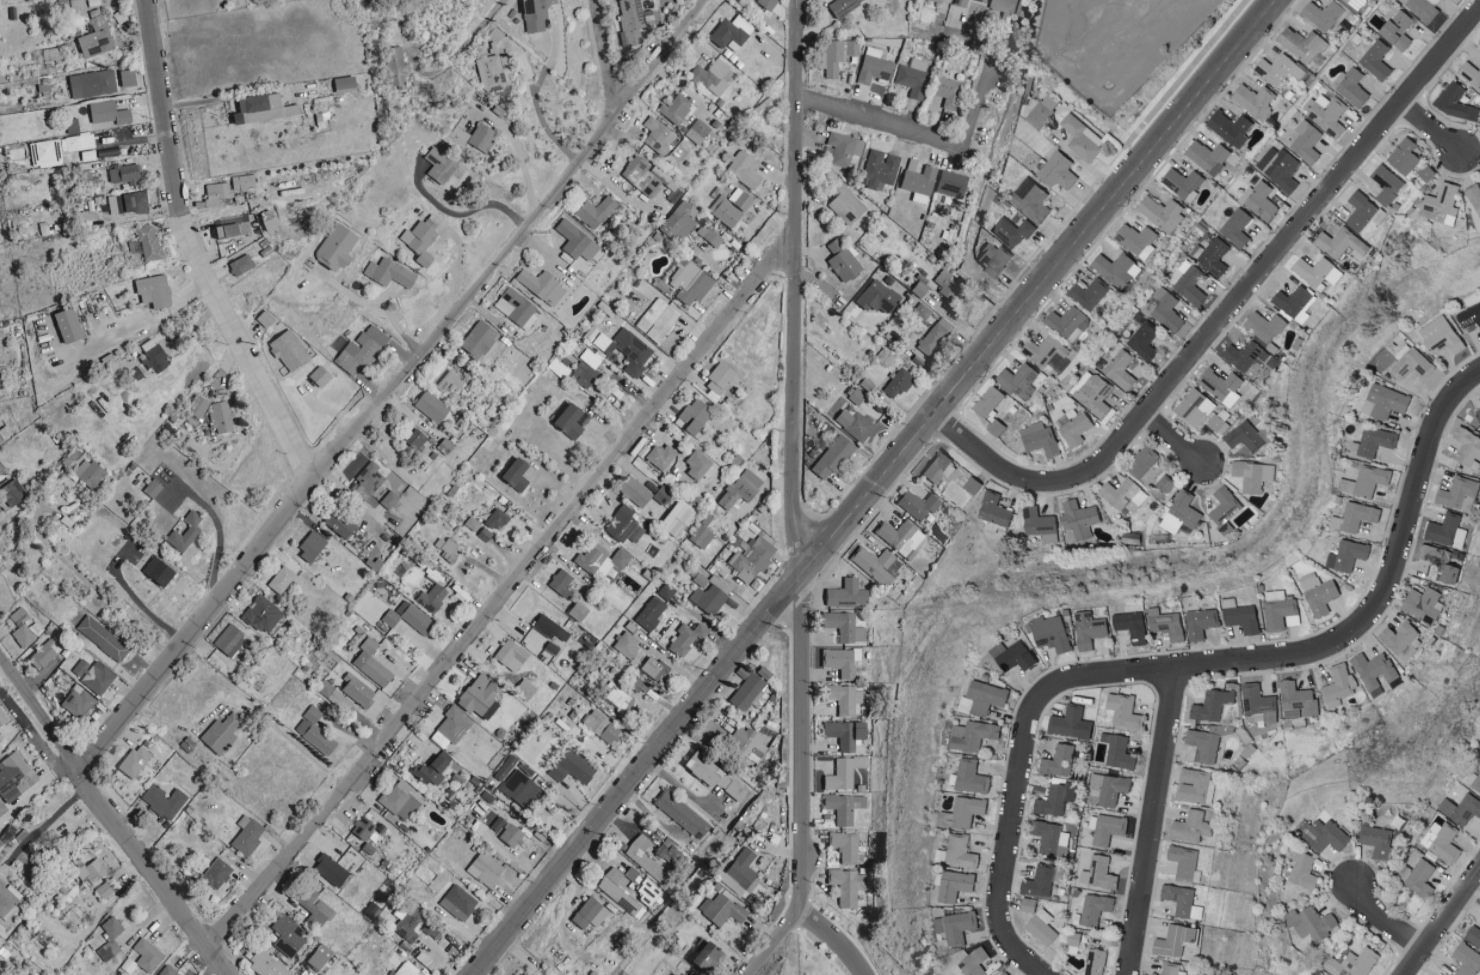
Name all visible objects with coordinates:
building: (940, 1)
building: (978, 1)
building: (1350, 1)
building: (92, 2)
building: (768, 2)
building: (959, 3)
building: (1002, 5)
building: (843, 6)
building: (78, 9)
building: (1422, 9)
building: (535, 15)
building: (1323, 16)
building: (631, 22)
building: (1394, 29)
building: (732, 30)
building: (97, 36)
building: (1300, 44)
building: (1479, 45)
building: (62, 51)
road: (605, 52)
building: (50, 54)
building: (836, 55)
building: (1374, 61)
building: (874, 66)
building: (492, 70)
building: (1278, 70)
building: (1470, 75)
building: (712, 76)
building: (913, 76)
building: (128, 77)
building: (92, 83)
building: (1349, 87)
building: (44, 88)
building: (948, 91)
road: (533, 95)
building: (1253, 102)
building: (1455, 102)
building: (255, 103)
building: (676, 108)
building: (1044, 110)
building: (109, 112)
building: (1327, 116)
building: (73, 125)
building: (1229, 128)
road: (1434, 130)
building: (698, 131)
road: (926, 132)
building: (659, 134)
building: (482, 136)
building: (1084, 138)
building: (1305, 141)
building: (77, 142)
building: (844, 148)
building: (46, 151)
building: (110, 152)
building: (88, 154)
building: (1403, 156)
building: (1210, 157)
road: (519, 160)
building: (439, 165)
building: (745, 168)
building: (881, 168)
building: (1281, 168)
building: (1060, 171)
building: (126, 173)
building: (1424, 173)
building: (644, 174)
building: (919, 181)
building: (952, 183)
building: (1184, 183)
building: (1386, 184)
building: (227, 188)
building: (1473, 198)
building: (740, 199)
building: (1033, 200)
building: (1262, 201)
building: (128, 203)
building: (845, 204)
building: (1440, 204)
building: (596, 211)
building: (725, 211)
road: (460, 213)
building: (1365, 213)
building: (1164, 214)
building: (680, 220)
building: (233, 226)
building: (1239, 227)
building: (1013, 232)
building: (709, 234)
building: (577, 240)
building: (1138, 240)
building: (420, 241)
building: (147, 243)
building: (1341, 243)
building: (337, 246)
road: (186, 251)
road: (459, 254)
building: (1217, 257)
building: (994, 258)
building: (843, 260)
building: (241, 265)
building: (1118, 270)
building: (389, 272)
building: (1318, 273)
building: (691, 282)
building: (947, 283)
building: (1192, 284)
building: (542, 285)
road: (794, 287)
building: (155, 290)
building: (1090, 294)
building: (879, 297)
road: (374, 300)
building: (1295, 303)
building: (517, 307)
building: (1169, 310)
road: (1229, 310)
building: (1469, 317)
building: (265, 318)
building: (657, 320)
building: (1068, 324)
building: (69, 325)
road: (131, 326)
building: (1266, 327)
building: (934, 336)
building: (1440, 336)
building: (479, 338)
building: (1146, 341)
building: (627, 349)
building: (289, 350)
building: (361, 350)
building: (1049, 354)
building: (155, 355)
building: (1244, 355)
building: (1413, 363)
building: (586, 368)
building: (1124, 369)
building: (320, 375)
building: (447, 380)
road: (389, 381)
building: (721, 381)
building: (1021, 382)
building: (898, 383)
building: (1223, 386)
building: (1102, 395)
building: (857, 396)
building: (991, 402)
building: (1388, 402)
building: (1004, 406)
building: (199, 407)
building: (432, 407)
building: (1195, 407)
building: (1478, 414)
building: (694, 416)
building: (221, 417)
building: (570, 421)
building: (855, 424)
building: (1219, 424)
building: (1078, 425)
building: (998, 428)
building: (1246, 437)
building: (416, 438)
building: (1, 439)
building: (1042, 439)
road: (1172, 441)
building: (1377, 442)
building: (1467, 449)
building: (661, 456)
building: (834, 456)
building: (1145, 462)
building: (698, 464)
building: (939, 466)
building: (89, 473)
building: (517, 475)
building: (1254, 475)
building: (371, 480)
building: (1369, 481)
building: (1169, 484)
building: (974, 485)
road: (874, 486)
building: (153, 487)
building: (742, 488)
building: (636, 491)
building: (13, 492)
building: (1458, 494)
building: (663, 495)
building: (1125, 496)
building: (389, 499)
building: (919, 504)
building: (1226, 506)
building: (996, 510)
building: (1183, 514)
building: (1359, 517)
building: (498, 519)
building: (677, 519)
building: (1081, 519)
building: (709, 521)
building: (342, 523)
building: (472, 523)
building: (622, 524)
building: (1041, 525)
road: (223, 527)
building: (1442, 530)
building: (186, 532)
building: (697, 536)
building: (902, 536)
building: (446, 545)
building: (313, 546)
building: (1350, 555)
building: (592, 558)
building: (621, 558)
building: (753, 560)
building: (1438, 563)
building: (877, 564)
building: (159, 570)
building: (283, 579)
building: (562, 582)
road: (89, 583)
road: (503, 584)
road: (1388, 586)
building: (666, 591)
building: (848, 593)
building: (1322, 594)
building: (433, 597)
building: (708, 599)
road: (137, 601)
building: (1423, 604)
building: (579, 611)
building: (1284, 612)
building: (651, 613)
building: (263, 614)
building: (1244, 616)
building: (415, 617)
building: (391, 618)
building: (1205, 623)
building: (1134, 624)
building: (1171, 624)
building: (846, 626)
building: (630, 627)
building: (21, 628)
building: (551, 628)
building: (1092, 630)
building: (1054, 634)
building: (103, 638)
building: (230, 639)
building: (685, 639)
building: (1401, 640)
building: (627, 644)
building: (551, 648)
building: (43, 655)
building: (512, 655)
building: (1021, 658)
building: (842, 661)
building: (373, 663)
building: (654, 669)
road: (1127, 671)
building: (1377, 673)
building: (93, 676)
building: (1341, 686)
building: (751, 688)
building: (525, 689)
building: (358, 690)
building: (481, 695)
building: (618, 697)
building: (846, 698)
building: (986, 699)
building: (77, 701)
building: (1300, 701)
building: (1260, 704)
building: (1214, 705)
building: (1127, 712)
building: (2, 720)
building: (1073, 724)
building: (602, 726)
building: (451, 727)
building: (316, 731)
building: (222, 733)
building: (847, 733)
building: (977, 735)
road: (287, 739)
building: (747, 741)
road: (799, 741)
building: (1209, 742)
building: (1121, 752)
building: (494, 760)
building: (135, 761)
building: (1060, 761)
building: (505, 767)
building: (572, 767)
building: (434, 769)
building: (844, 772)
building: (15, 776)
building: (717, 777)
building: (974, 777)
building: (1474, 781)
road: (681, 786)
building: (1198, 786)
building: (522, 789)
building: (1110, 789)
building: (164, 801)
building: (400, 801)
building: (1053, 802)
building: (845, 807)
building: (1460, 809)
building: (968, 813)
building: (683, 814)
road: (117, 817)
road: (1010, 820)
road: (1150, 821)
road: (49, 824)
building: (364, 828)
building: (1195, 828)
building: (1107, 829)
building: (510, 833)
building: (248, 835)
building: (1325, 835)
building: (1053, 840)
building: (1378, 840)
building: (1440, 842)
building: (845, 845)
building: (669, 852)
building: (961, 853)
building: (644, 857)
building: (1186, 862)
building: (743, 867)
building: (485, 869)
building: (92, 870)
building: (331, 870)
building: (1303, 871)
building: (217, 874)
building: (1102, 874)
building: (1417, 878)
building: (1041, 882)
building: (960, 886)
building: (849, 887)
building: (105, 889)
building: (648, 891)
building: (619, 892)
building: (8, 901)
building: (458, 902)
building: (1185, 902)
building: (1030, 906)
building: (316, 908)
building: (1098, 909)
building: (724, 910)
building: (372, 911)
building: (591, 913)
road: (1384, 918)
road: (1441, 921)
building: (1313, 923)
building: (407, 924)
building: (959, 927)
building: (427, 928)
building: (1044, 928)
building: (288, 935)
building: (1473, 936)
building: (110, 938)
building: (1075, 939)
road: (828, 940)
building: (1179, 940)
road: (769, 942)
building: (148, 955)
building: (320, 956)
building: (712, 957)
building: (1466, 960)
building: (1098, 962)
building: (1356, 963)
building: (265, 965)
building: (975, 965)
building: (1171, 968)
building: (407, 970)
building: (168, 971)
building: (526, 973)
building: (1002, 974)

